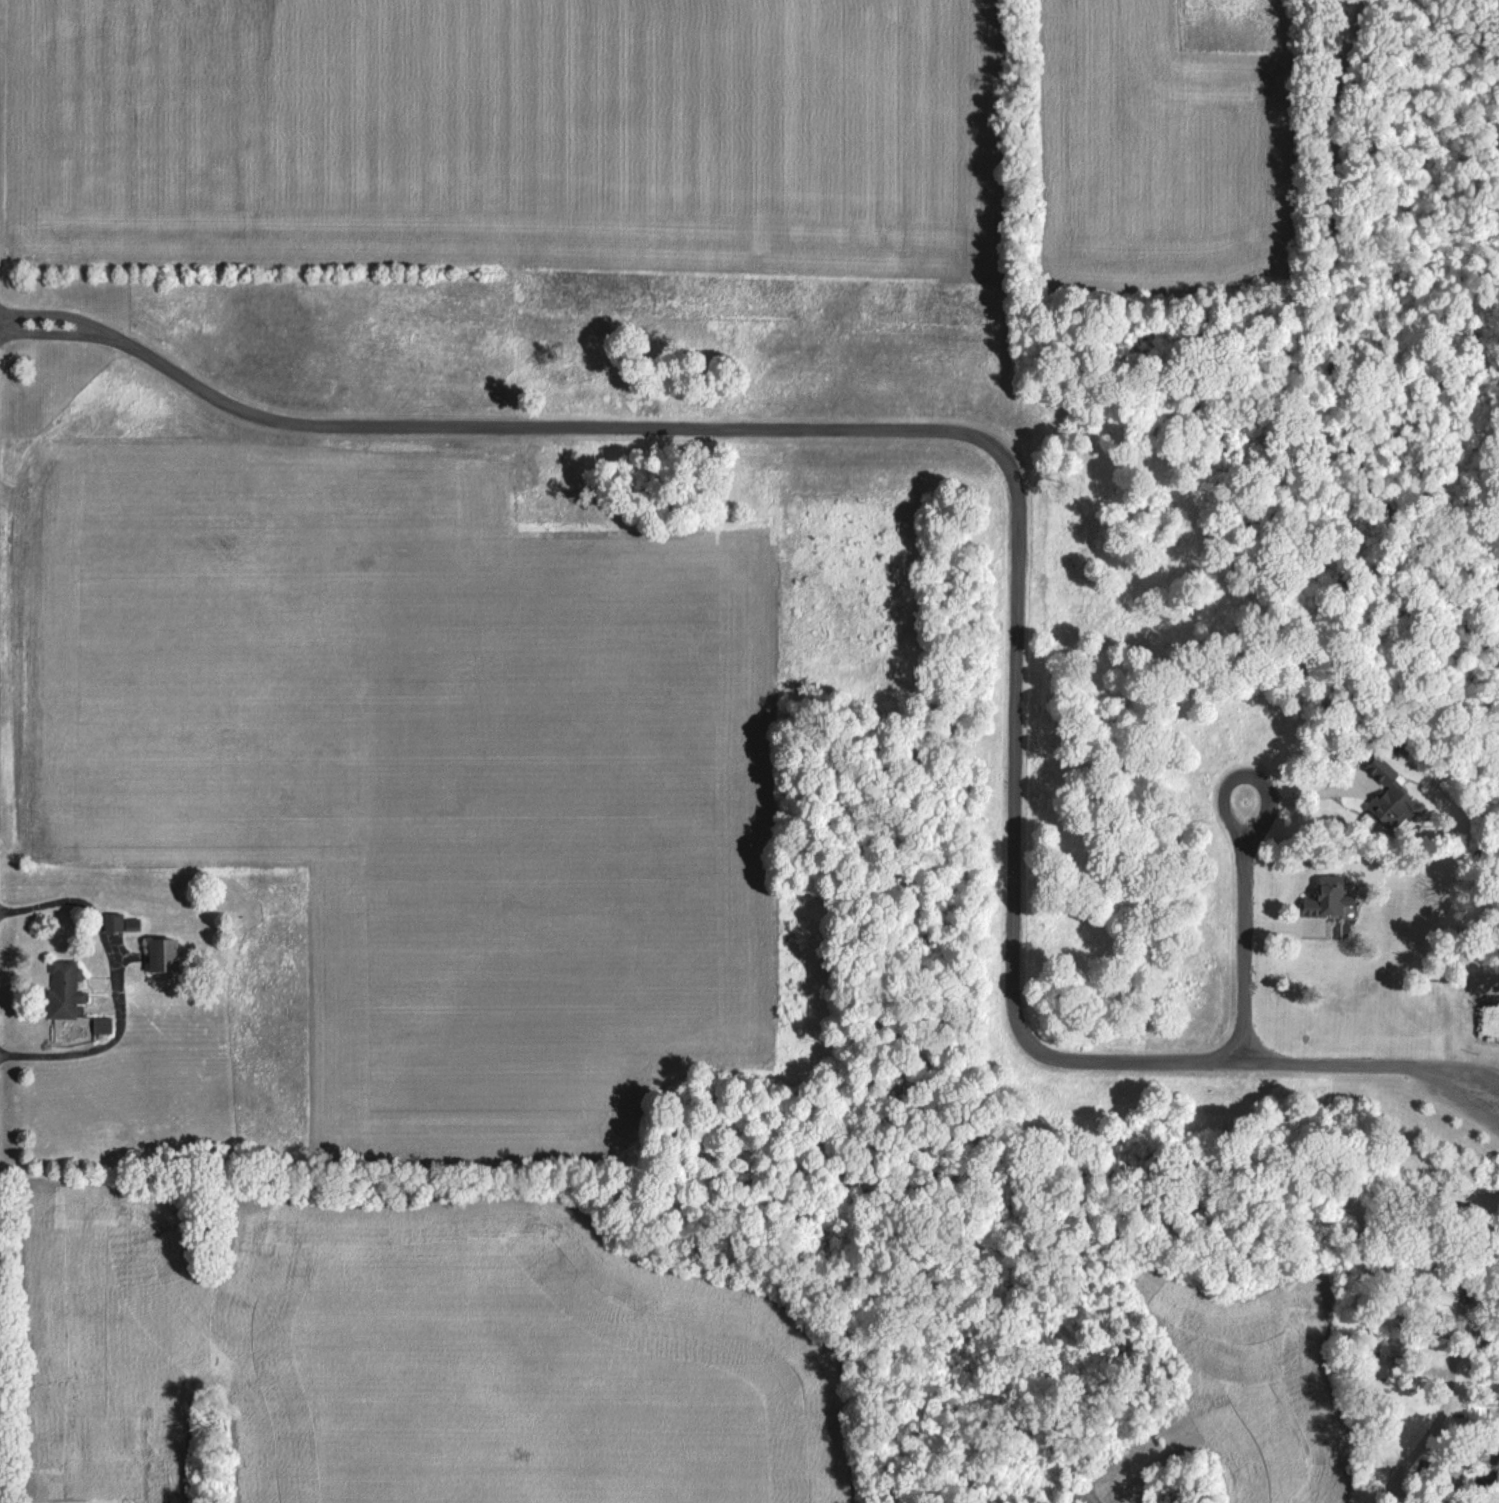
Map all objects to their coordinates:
road: (56, 312)
road: (53, 332)
road: (1324, 363)
road: (1017, 525)
road: (1317, 799)
building: (1388, 800)
road: (1243, 858)
building: (1324, 897)
building: (112, 921)
building: (131, 923)
building: (160, 954)
road: (116, 980)
building: (62, 987)
building: (1493, 1414)
road: (1432, 1429)
building: (1494, 1449)
building: (1424, 1471)
road: (1441, 1501)

